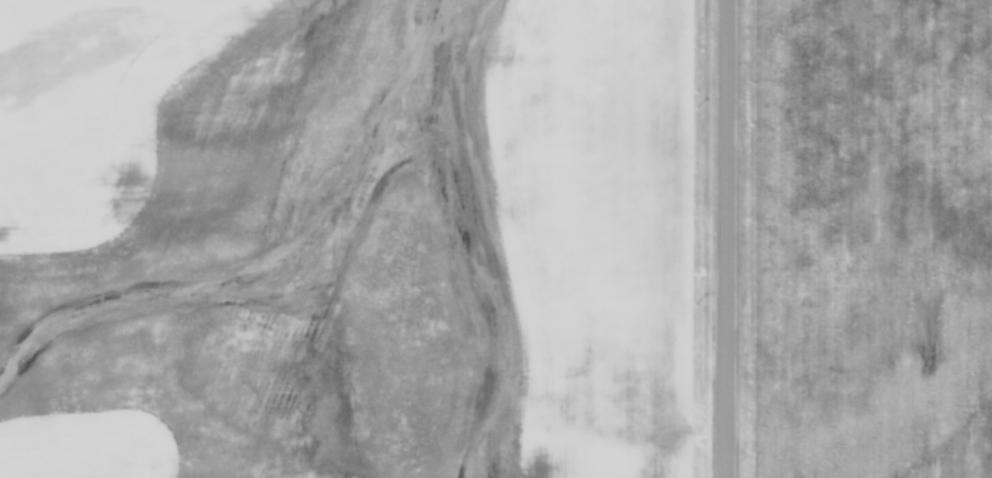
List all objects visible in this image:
road: (727, 239)

